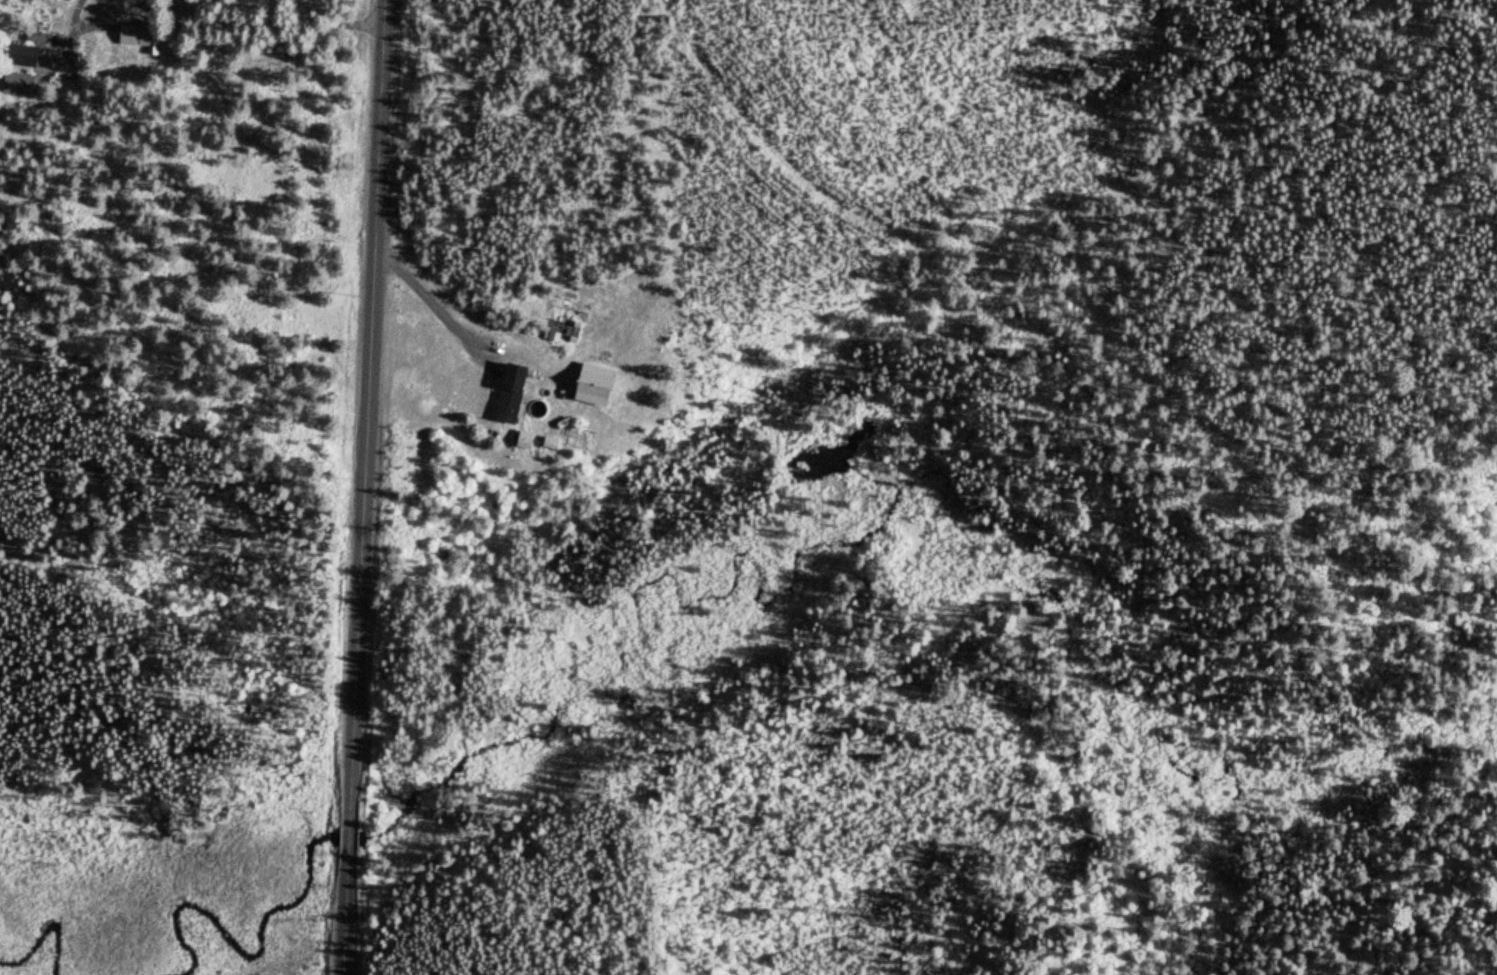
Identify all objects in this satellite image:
road: (680, 22)
building: (135, 38)
building: (42, 39)
building: (20, 56)
building: (16, 85)
building: (506, 392)
road: (362, 487)

